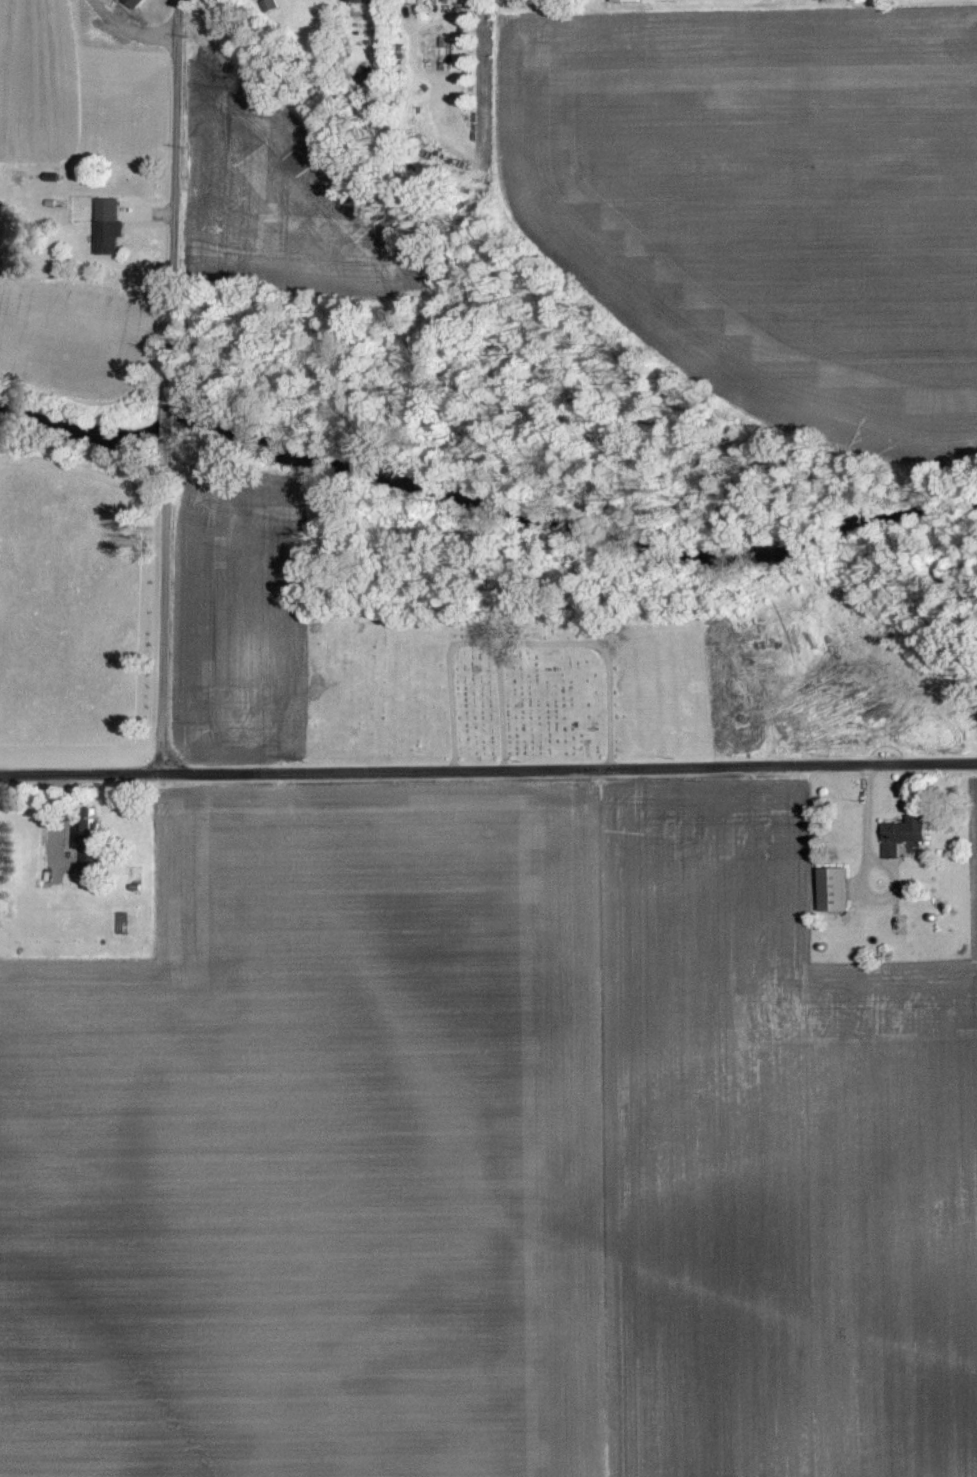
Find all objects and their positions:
building: (359, 0)
building: (632, 0)
building: (419, 1)
building: (137, 2)
building: (271, 5)
road: (130, 31)
road: (179, 205)
building: (110, 225)
road: (178, 428)
road: (172, 612)
road: (526, 646)
park: (513, 690)
road: (501, 711)
road: (488, 776)
building: (907, 833)
building: (92, 848)
building: (838, 889)
building: (4, 905)

